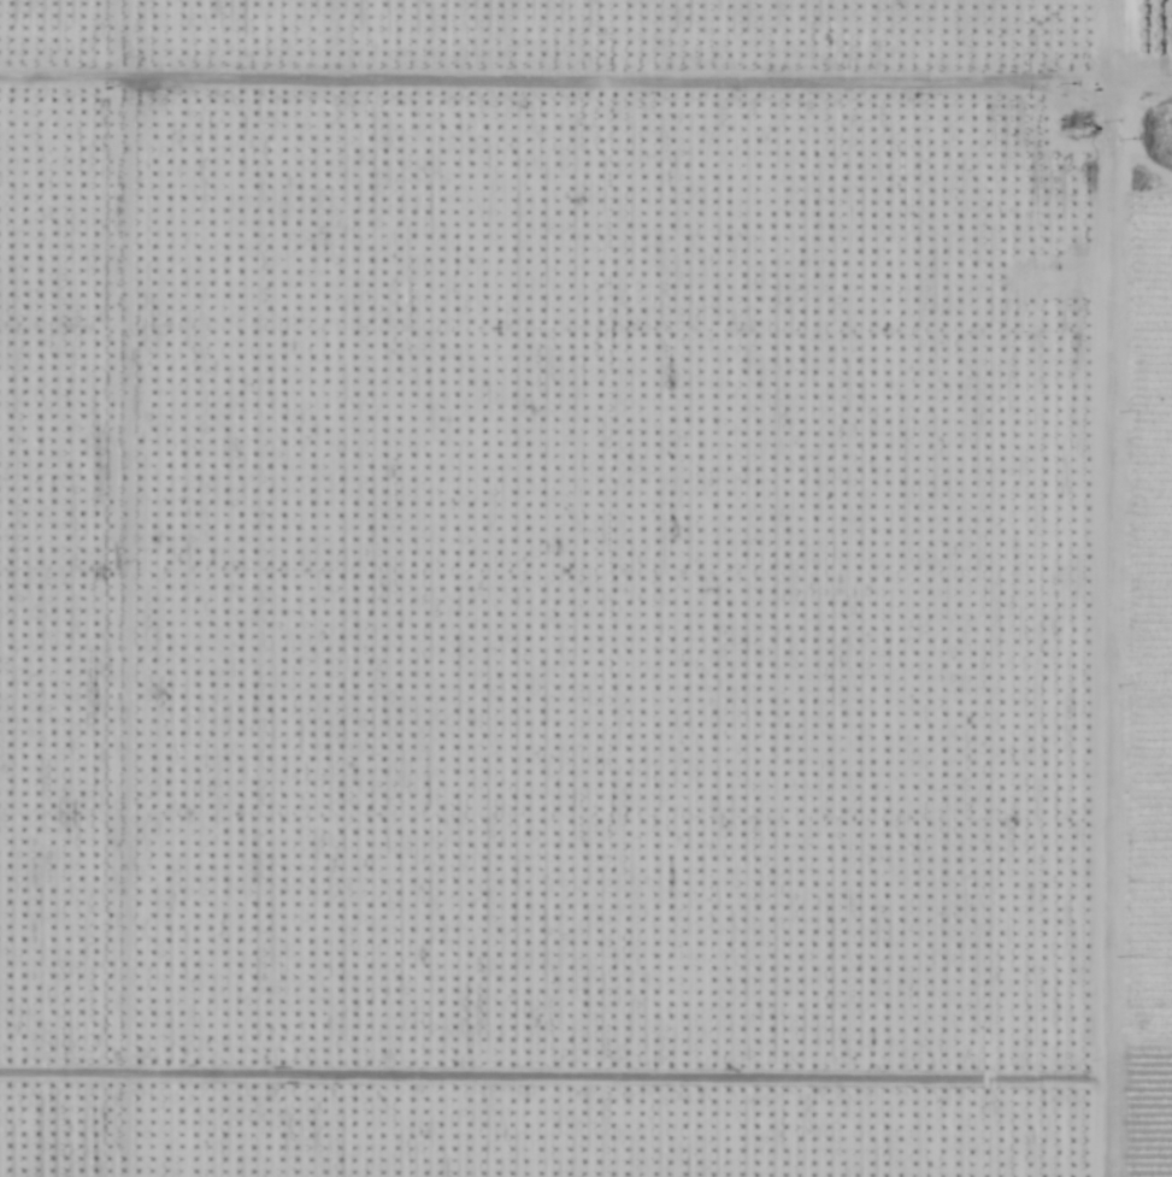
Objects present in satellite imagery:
road: (1142, 67)
road: (555, 86)
road: (1096, 588)
road: (114, 631)
road: (548, 1082)

